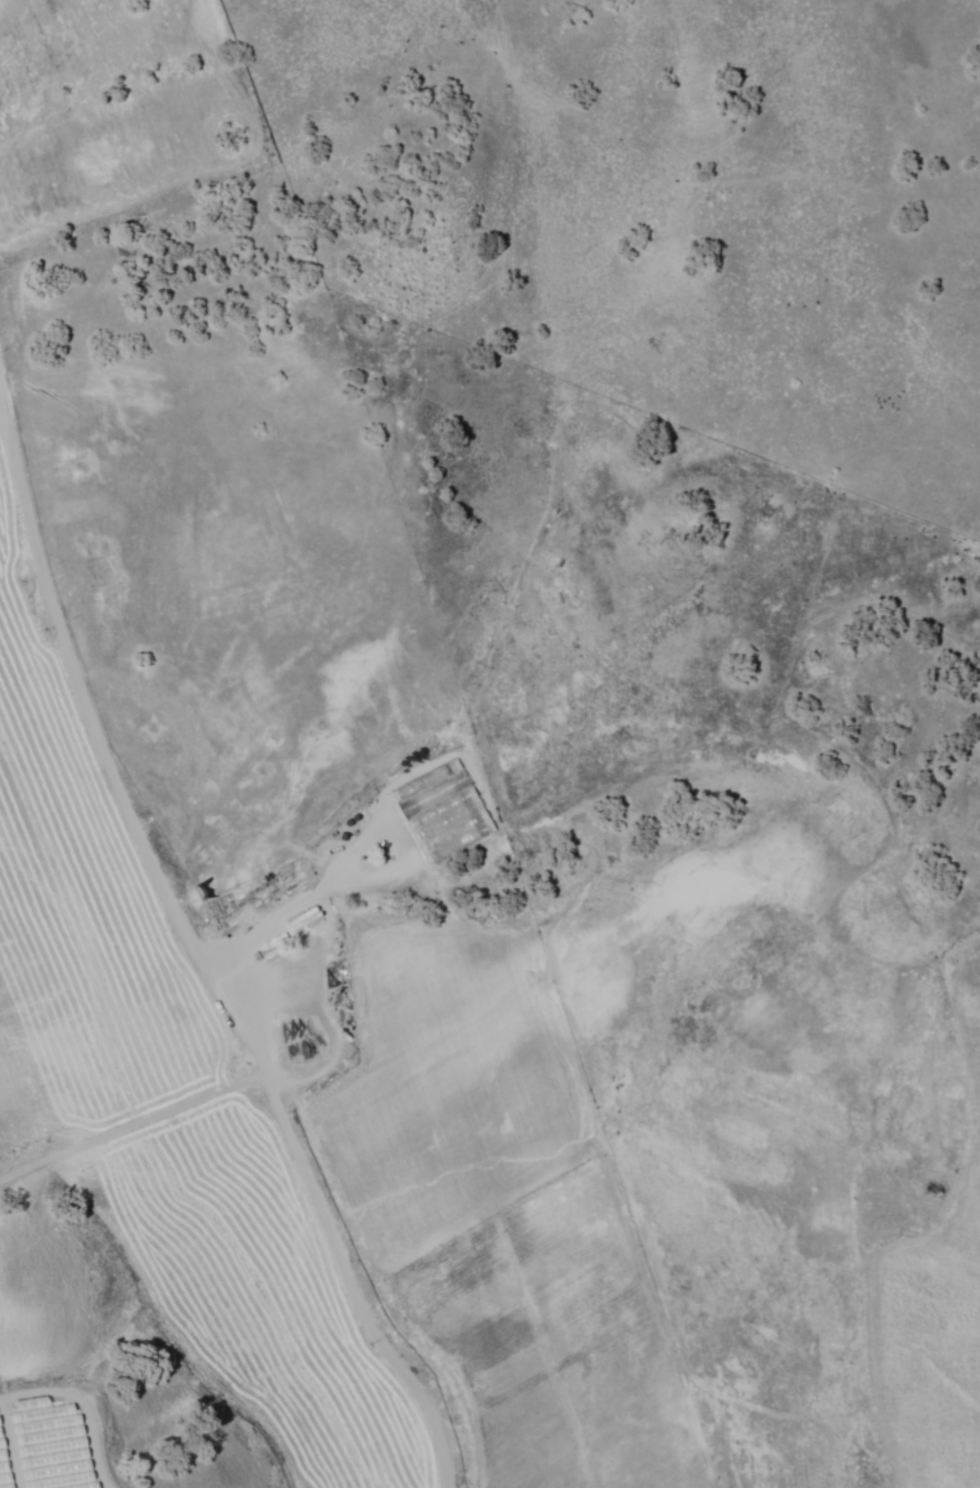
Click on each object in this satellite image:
building: (442, 811)
building: (305, 919)
road: (188, 948)
crop: (166, 1090)
crop: (917, 1292)

